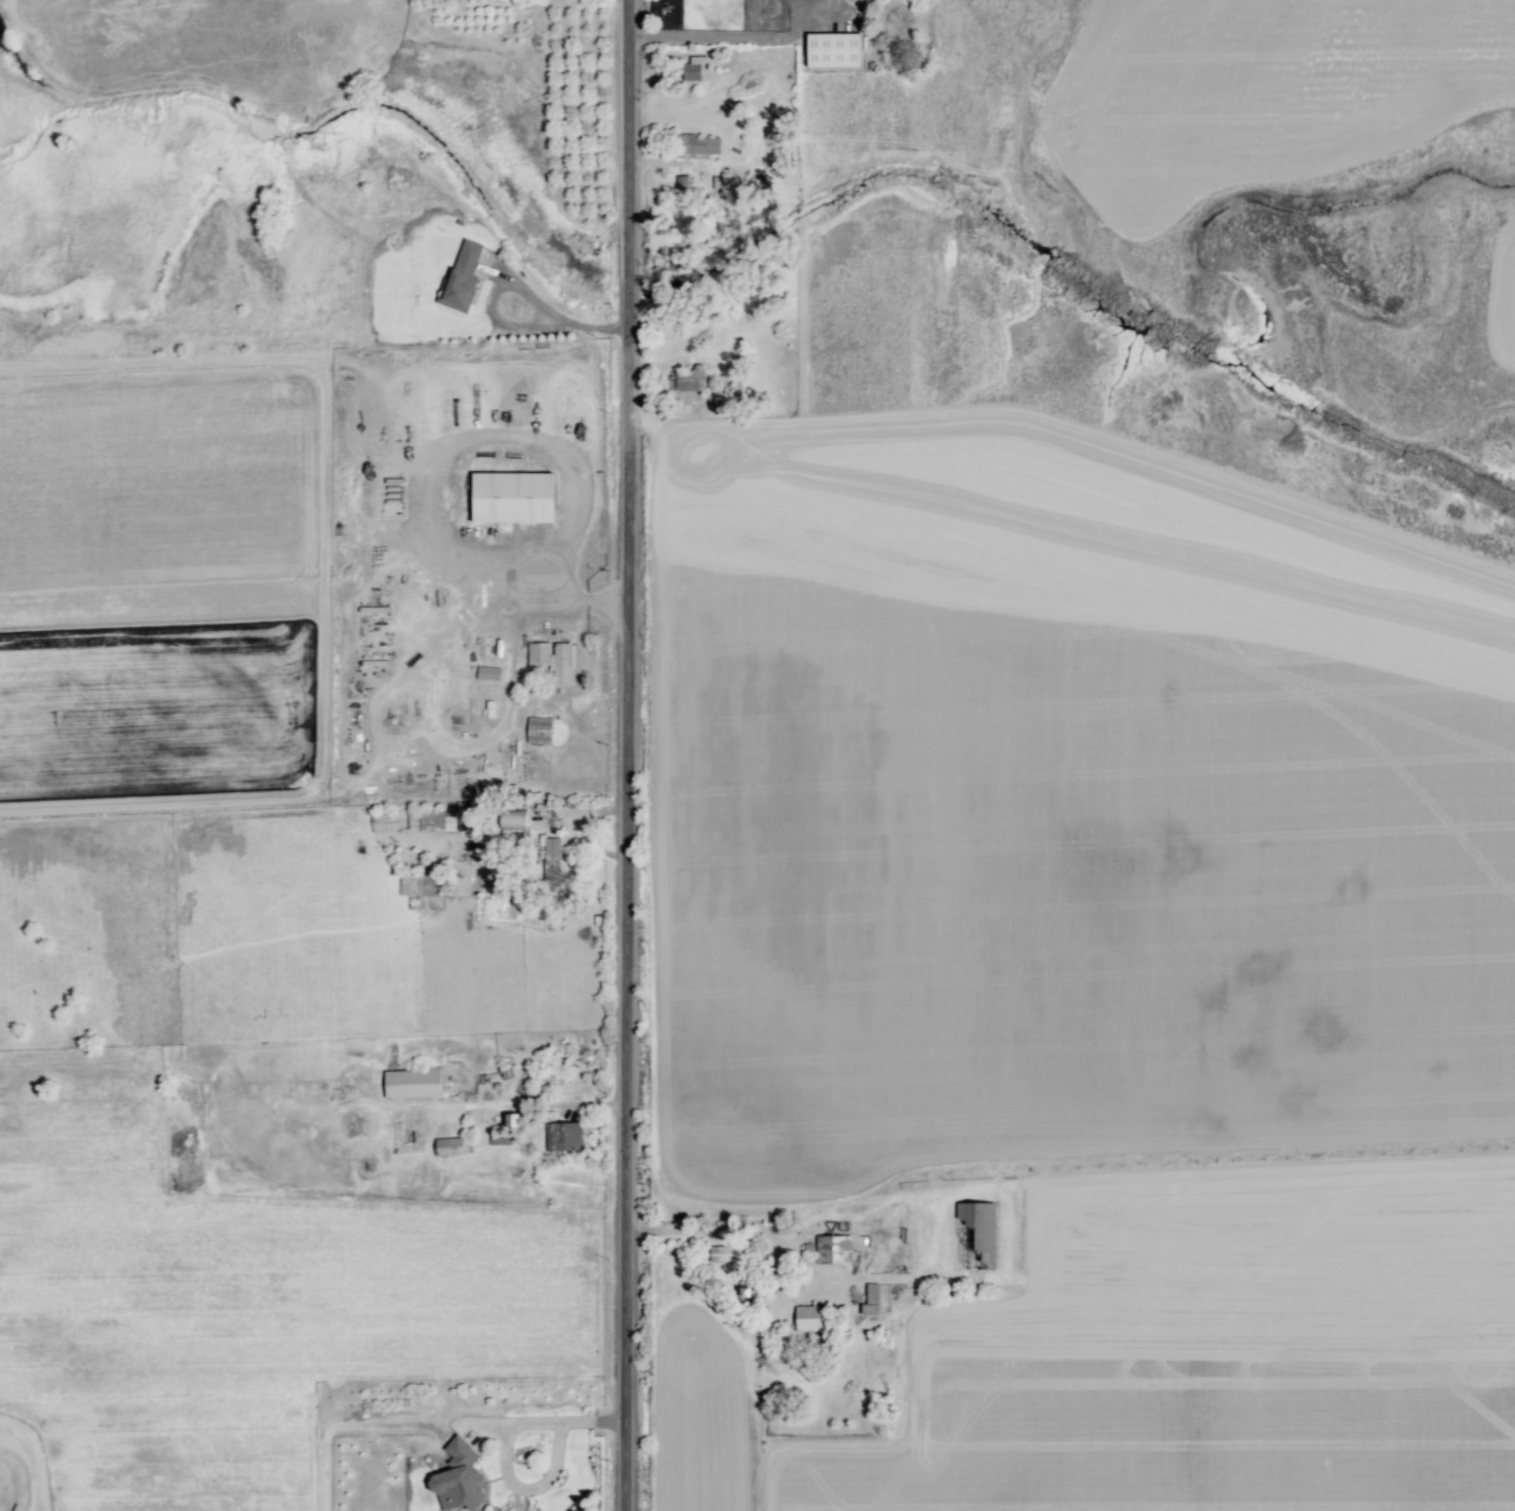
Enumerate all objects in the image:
road: (717, 37)
building: (833, 49)
building: (695, 69)
building: (698, 144)
building: (682, 183)
building: (461, 279)
road: (506, 282)
building: (691, 379)
road: (420, 454)
building: (513, 497)
building: (554, 659)
building: (487, 673)
building: (539, 730)
road: (618, 755)
road: (575, 812)
building: (512, 820)
building: (436, 821)
building: (384, 822)
building: (552, 859)
building: (415, 888)
building: (413, 1083)
building: (563, 1137)
building: (449, 1147)
building: (979, 1224)
road: (712, 1230)
building: (833, 1250)
building: (725, 1255)
building: (750, 1291)
building: (871, 1300)
building: (809, 1319)
road: (554, 1422)
building: (458, 1479)

